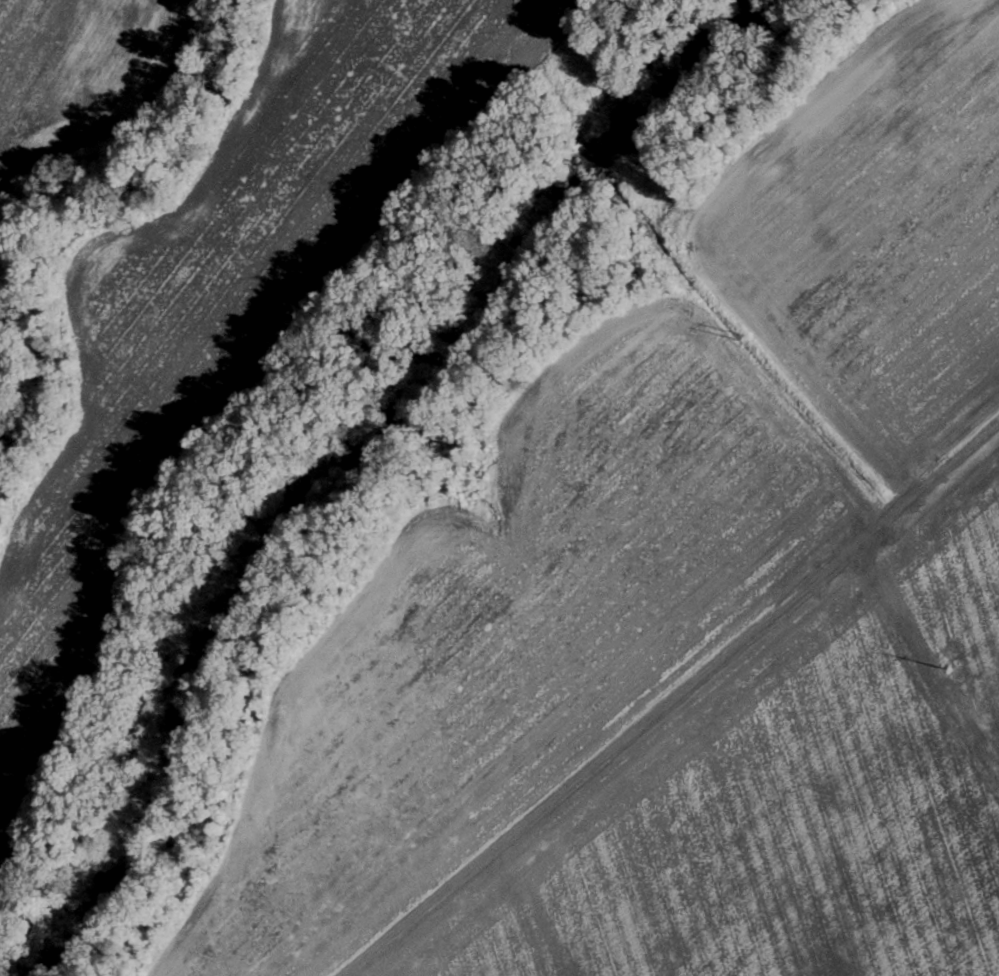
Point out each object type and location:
river: (352, 463)
power tower: (951, 669)
road: (669, 699)

